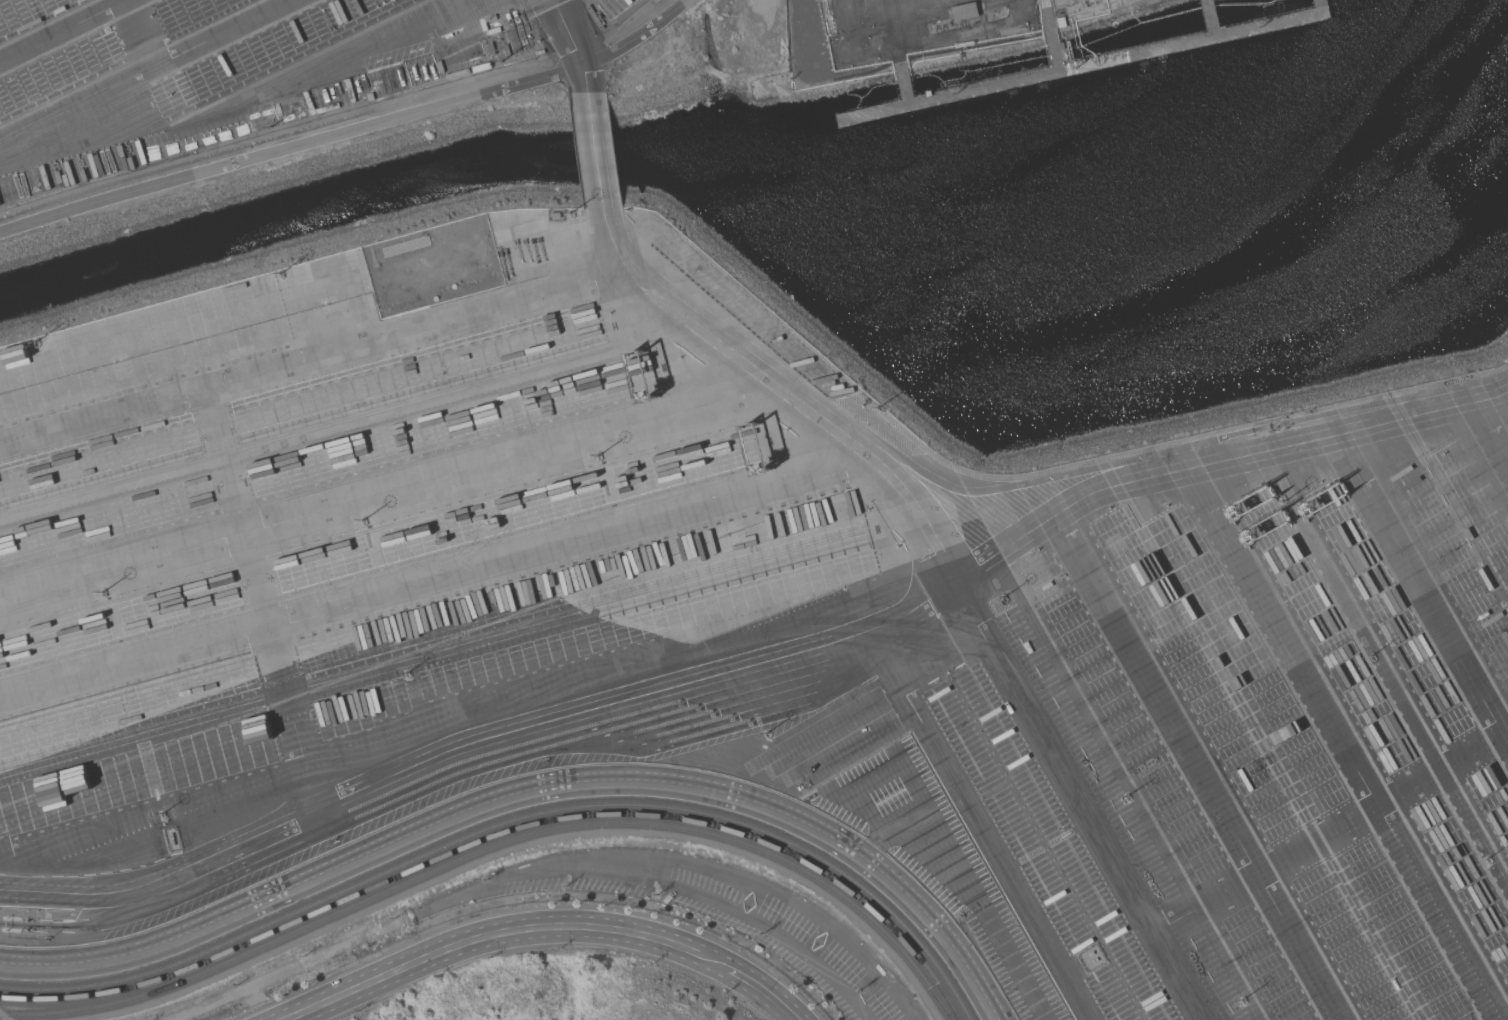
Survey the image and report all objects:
building: (965, 10)
building: (1062, 22)
road: (53, 25)
building: (1232, 28)
road: (134, 30)
road: (573, 44)
road: (136, 65)
road: (271, 81)
building: (929, 92)
road: (348, 129)
road: (595, 153)
road: (271, 367)
road: (1489, 426)
road: (954, 574)
road: (1284, 639)
road: (761, 659)
road: (1505, 740)
road: (1482, 747)
road: (1197, 770)
road: (526, 793)
railway: (511, 821)
road: (982, 824)
railway: (505, 833)
railway: (498, 844)
road: (496, 932)
road: (761, 989)

